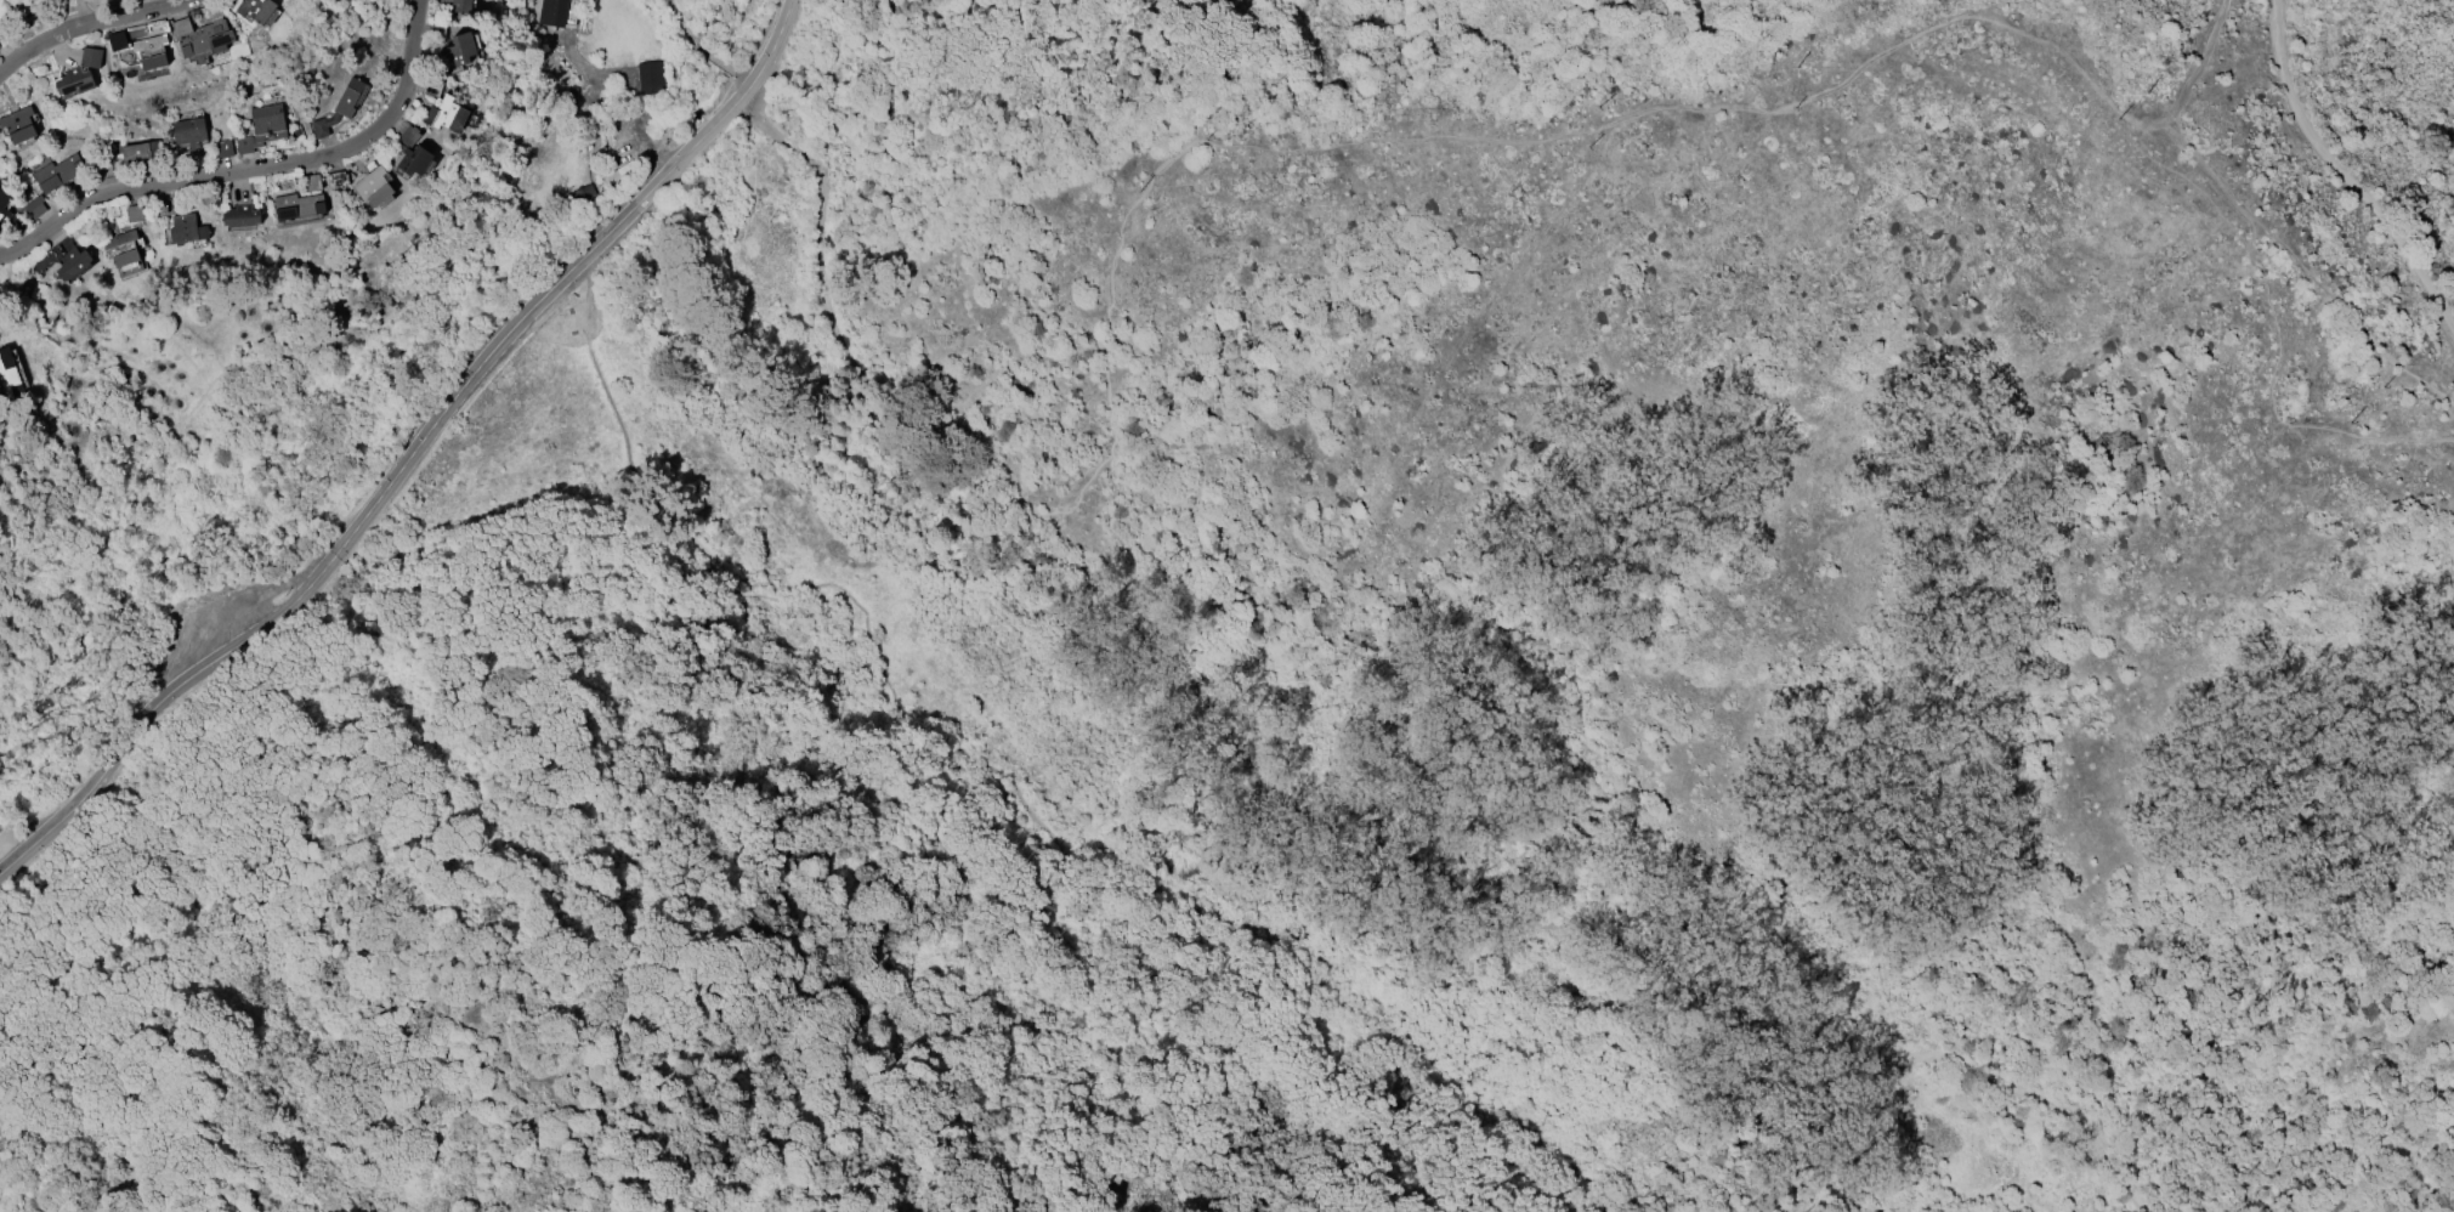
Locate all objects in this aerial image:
building: (460, 6)
building: (255, 9)
road: (79, 12)
building: (554, 12)
road: (80, 22)
building: (200, 36)
road: (702, 47)
building: (143, 50)
building: (461, 50)
building: (79, 74)
building: (651, 77)
road: (631, 91)
building: (340, 107)
building: (449, 115)
building: (19, 125)
building: (265, 128)
building: (191, 134)
road: (489, 134)
building: (413, 152)
building: (135, 153)
road: (254, 168)
building: (59, 176)
road: (2348, 176)
building: (338, 180)
building: (313, 181)
building: (375, 188)
power tower: (1084, 196)
building: (4, 204)
building: (300, 206)
building: (135, 214)
building: (243, 216)
building: (185, 228)
building: (124, 253)
building: (73, 264)
road: (237, 367)
building: (10, 375)
road: (415, 460)
power tower: (1382, 500)
power tower: (1647, 780)
road: (1044, 803)
road: (1313, 811)

